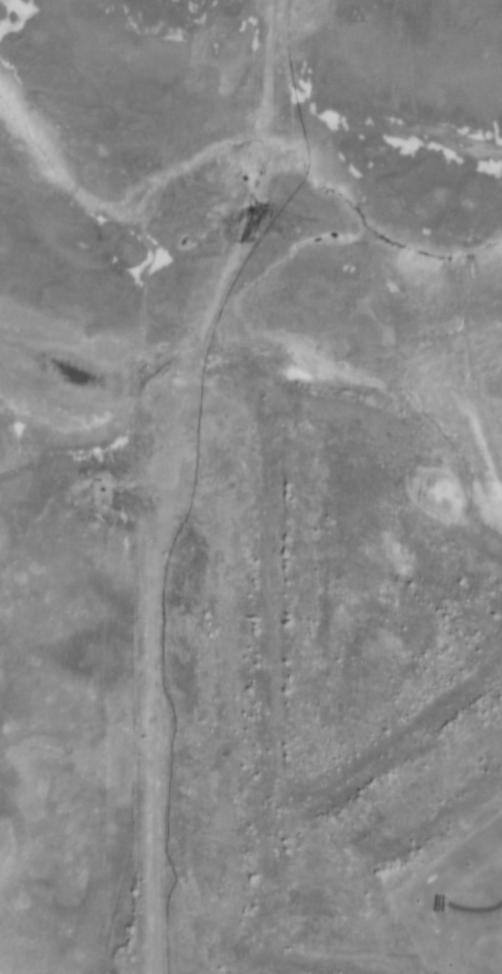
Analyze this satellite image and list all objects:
building: (438, 899)
road: (473, 905)

